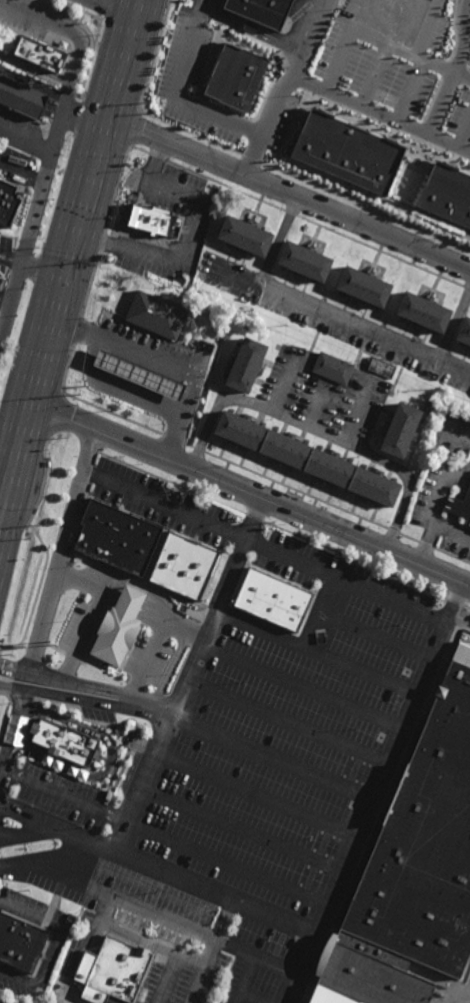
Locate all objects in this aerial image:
road: (116, 9)
building: (262, 10)
building: (250, 25)
road: (243, 29)
road: (462, 34)
road: (71, 35)
road: (374, 37)
building: (40, 53)
building: (236, 77)
road: (285, 88)
building: (22, 95)
road: (181, 98)
power tower: (142, 100)
road: (357, 105)
road: (87, 115)
road: (430, 123)
road: (26, 138)
building: (386, 169)
road: (22, 175)
road: (290, 194)
building: (8, 202)
building: (152, 219)
road: (32, 226)
road: (190, 233)
building: (246, 235)
road: (279, 241)
power tower: (99, 259)
road: (11, 260)
building: (305, 260)
road: (70, 261)
road: (44, 270)
building: (365, 286)
road: (5, 303)
building: (425, 311)
building: (155, 314)
road: (337, 316)
road: (455, 324)
building: (465, 331)
road: (94, 353)
road: (167, 362)
building: (247, 366)
building: (333, 367)
building: (382, 367)
building: (139, 374)
gas station: (139, 374)
road: (281, 384)
road: (135, 389)
power tower: (76, 390)
road: (318, 407)
road: (357, 413)
building: (401, 430)
road: (206, 432)
road: (453, 433)
road: (350, 449)
road: (8, 456)
building: (308, 459)
road: (441, 486)
road: (4, 490)
road: (251, 493)
road: (458, 500)
building: (461, 504)
power tower: (43, 522)
road: (434, 526)
building: (469, 526)
building: (118, 534)
road: (264, 546)
road: (62, 548)
building: (184, 564)
road: (110, 591)
road: (130, 599)
building: (273, 599)
road: (152, 610)
road: (92, 611)
road: (319, 611)
road: (459, 622)
building: (119, 627)
road: (156, 632)
road: (375, 636)
road: (316, 651)
power tower: (9, 657)
road: (186, 679)
road: (88, 683)
road: (303, 684)
road: (84, 702)
road: (287, 721)
road: (11, 731)
building: (65, 742)
road: (272, 756)
road: (40, 758)
road: (375, 792)
road: (63, 793)
road: (256, 794)
road: (241, 827)
road: (50, 832)
building: (422, 840)
road: (49, 856)
road: (227, 861)
road: (215, 888)
road: (167, 916)
road: (120, 933)
road: (218, 933)
building: (20, 943)
road: (55, 943)
building: (370, 948)
road: (170, 964)
road: (75, 967)
building: (112, 972)
building: (368, 976)
road: (247, 978)
road: (197, 986)
building: (329, 996)
road: (463, 996)
road: (253, 997)
building: (3, 1002)

